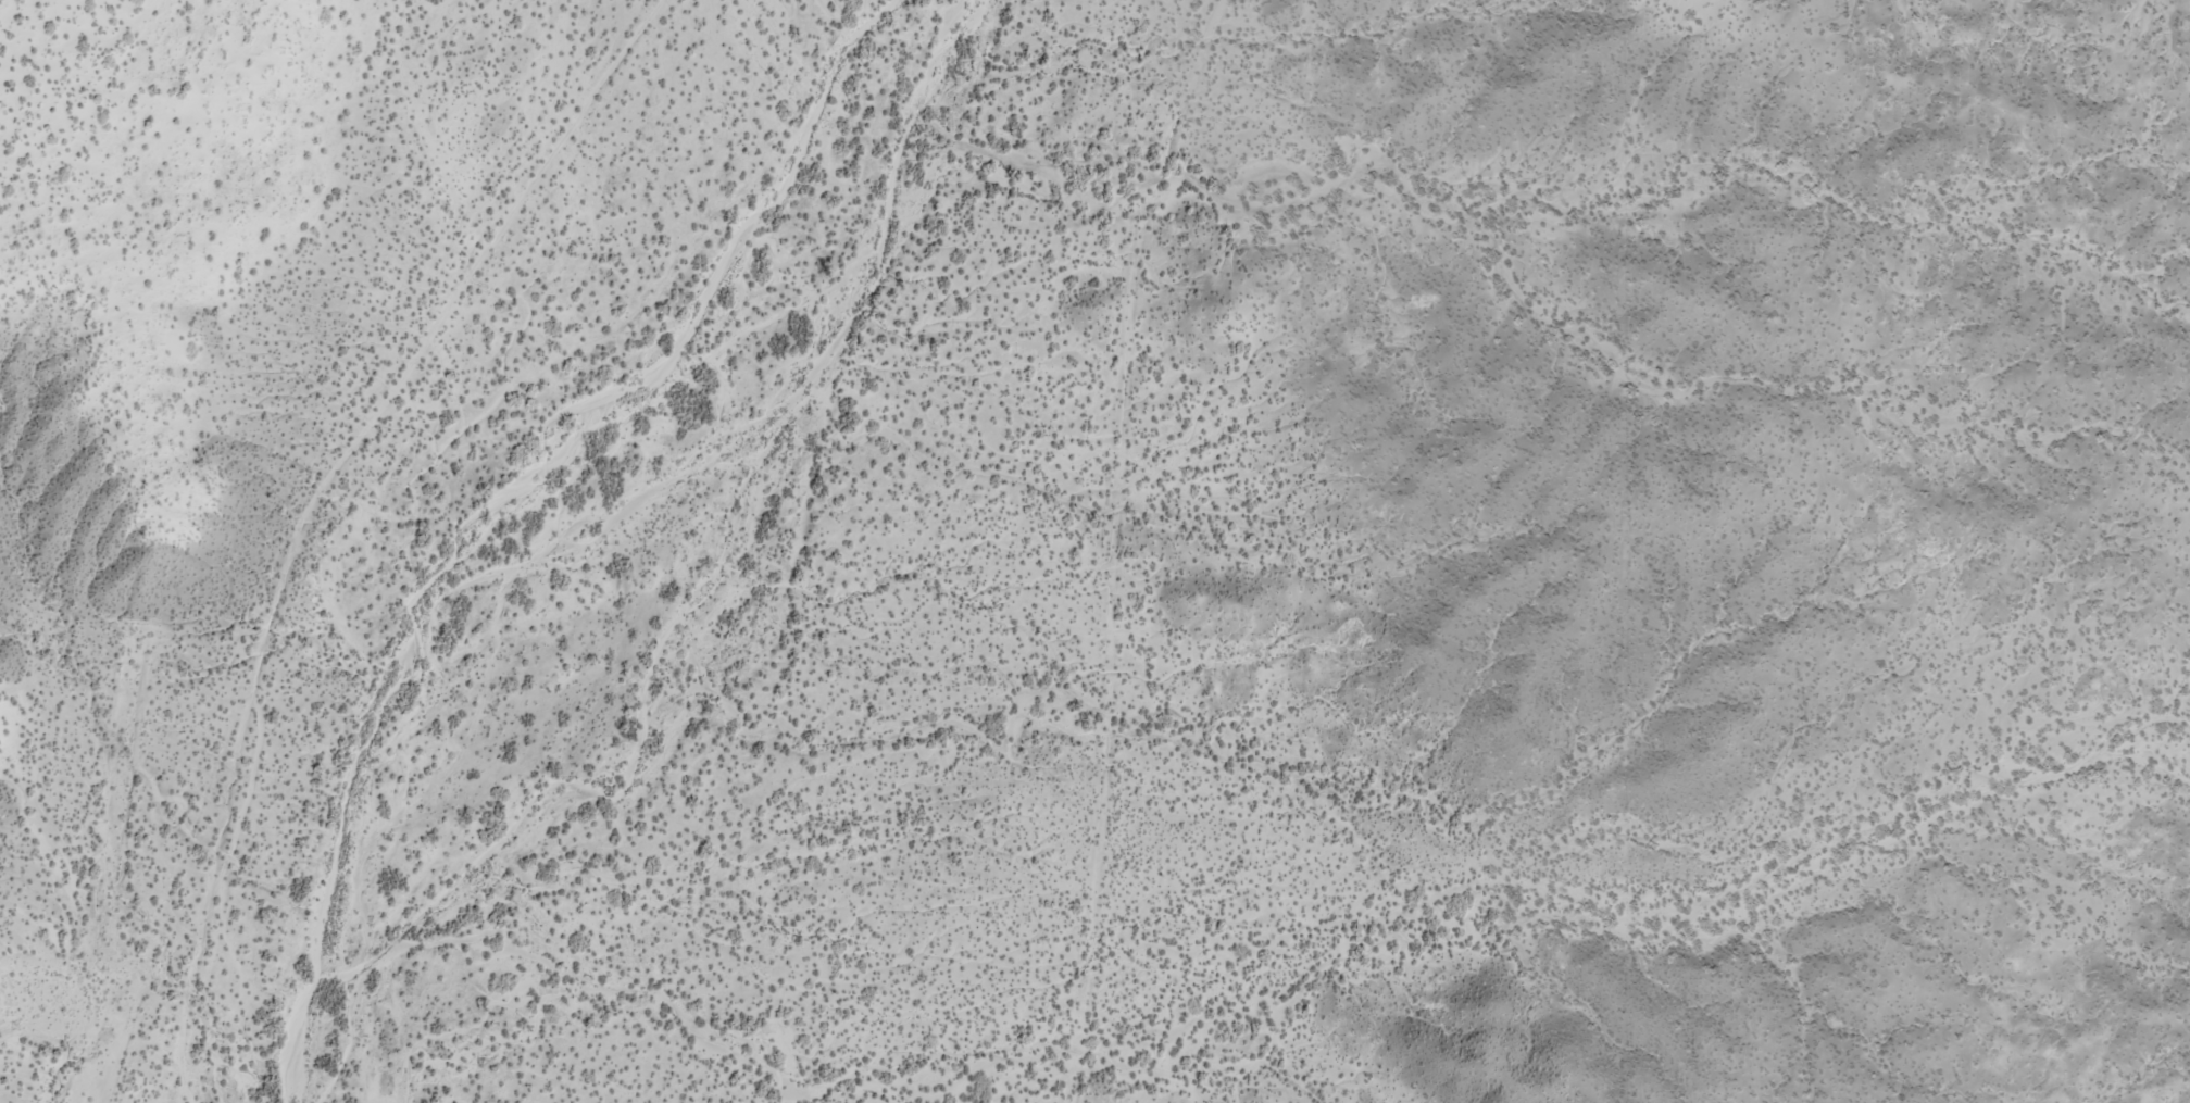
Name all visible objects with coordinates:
road: (1106, 518)
road: (377, 524)

